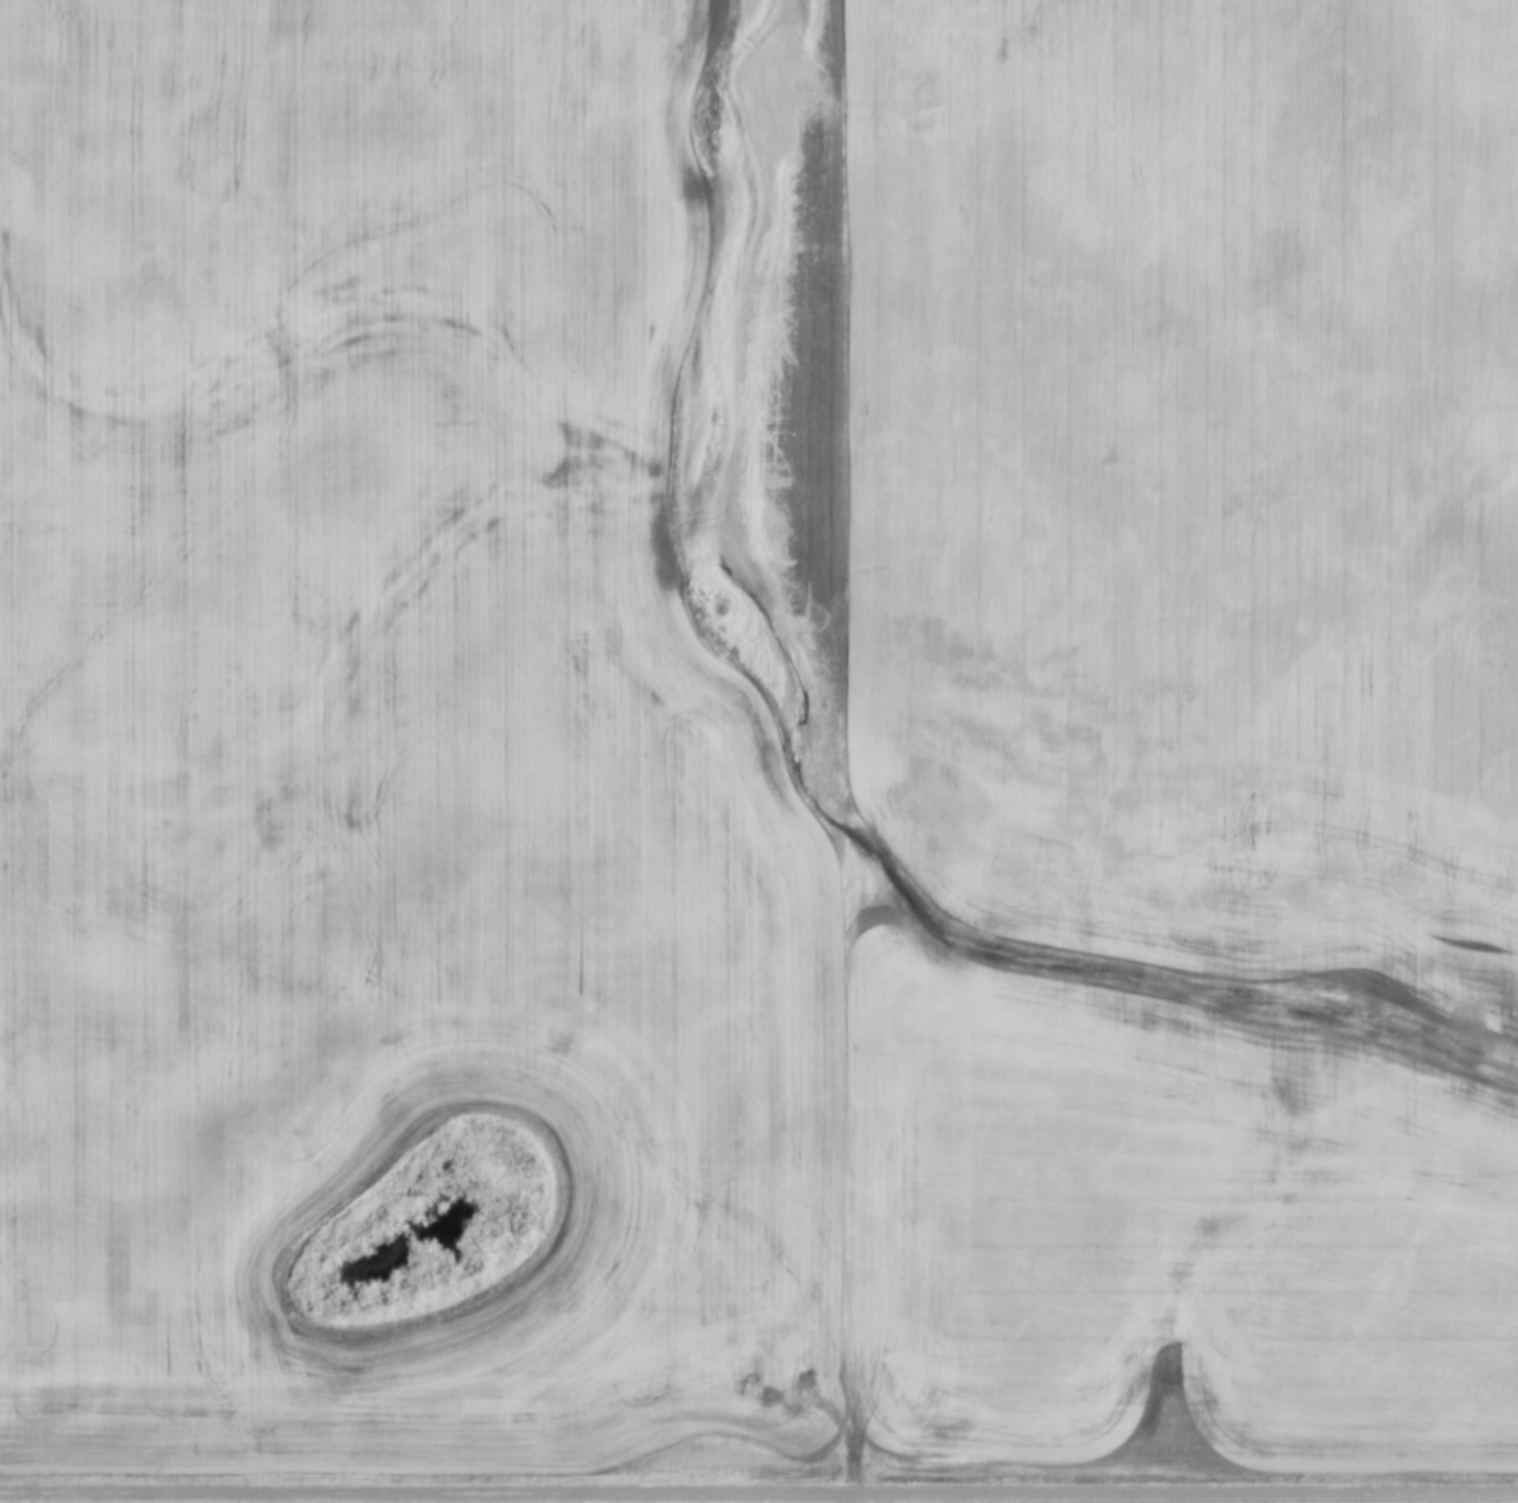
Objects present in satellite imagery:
road: (759, 1494)

